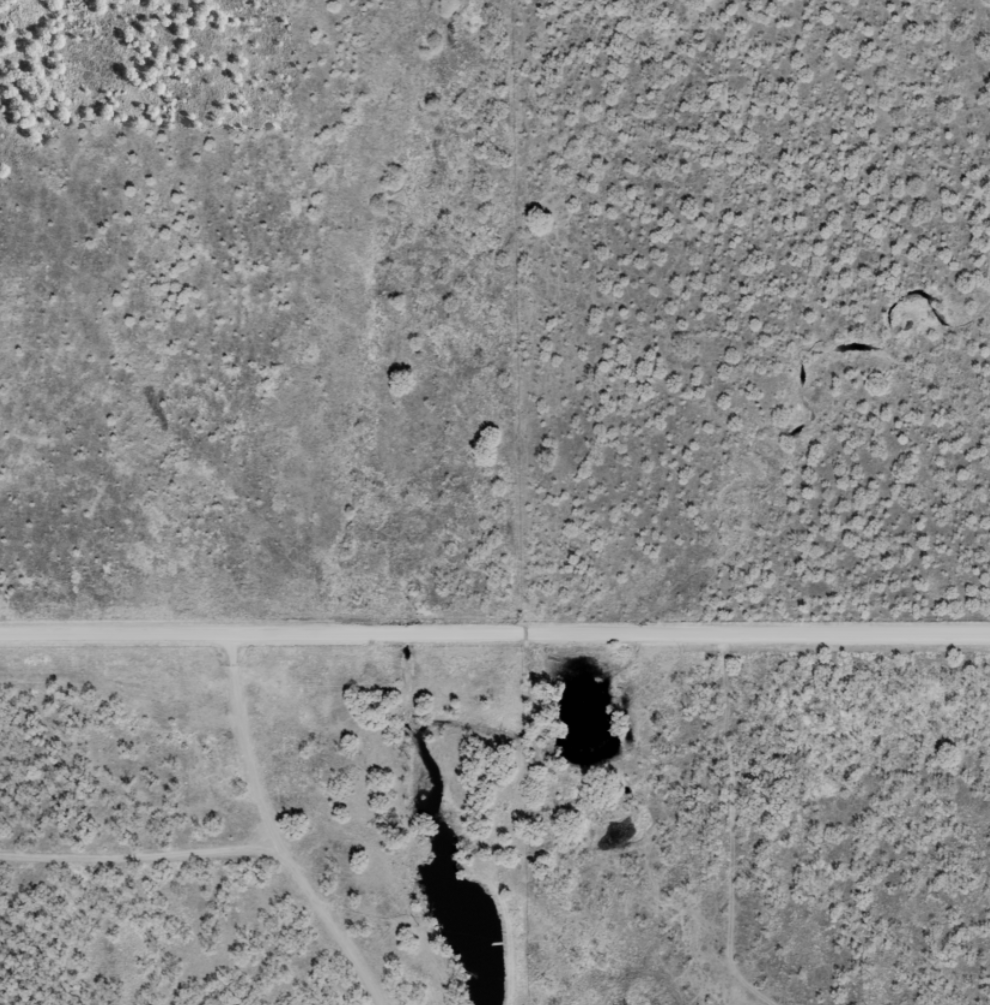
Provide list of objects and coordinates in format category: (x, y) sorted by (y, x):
road: (494, 649)
road: (283, 837)

